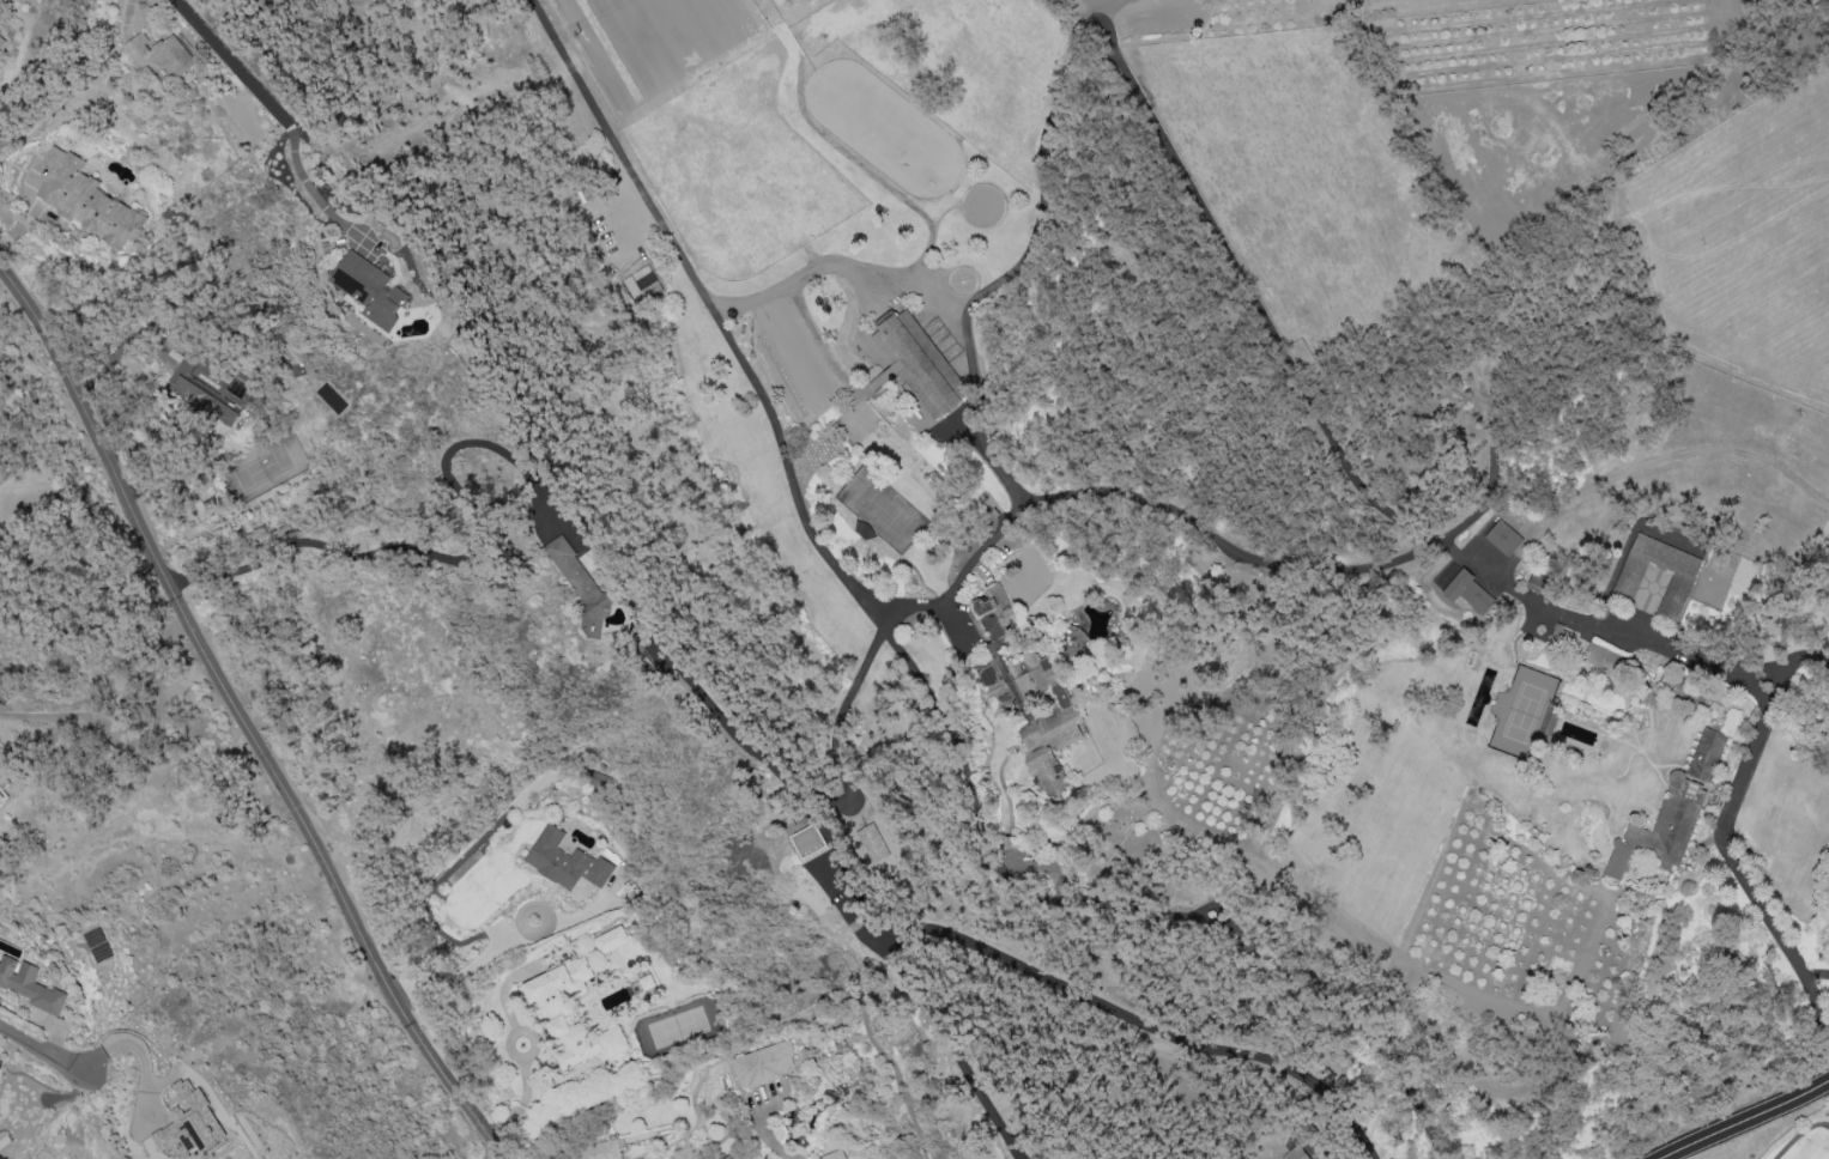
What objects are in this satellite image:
building: (2, 40)
building: (138, 47)
building: (171, 57)
building: (87, 200)
road: (812, 271)
building: (369, 289)
road: (726, 324)
road: (489, 356)
building: (919, 362)
building: (199, 394)
road: (1315, 536)
building: (1504, 539)
road: (75, 553)
road: (437, 554)
building: (580, 578)
building: (1680, 583)
building: (1467, 595)
road: (1604, 633)
building: (1562, 636)
road: (1804, 657)
building: (1603, 659)
road: (244, 714)
building: (1037, 714)
road: (141, 746)
building: (0, 784)
building: (1, 796)
building: (1672, 811)
building: (807, 841)
building: (870, 844)
road: (1731, 856)
building: (565, 861)
building: (610, 940)
building: (97, 945)
road: (505, 947)
building: (30, 985)
building: (552, 1013)
road: (28, 1044)
building: (763, 1064)
road: (1750, 1121)
building: (189, 1123)
road: (1797, 1133)
park: (1798, 1142)
building: (593, 1151)
building: (686, 1153)
building: (1295, 1153)
building: (836, 1154)

